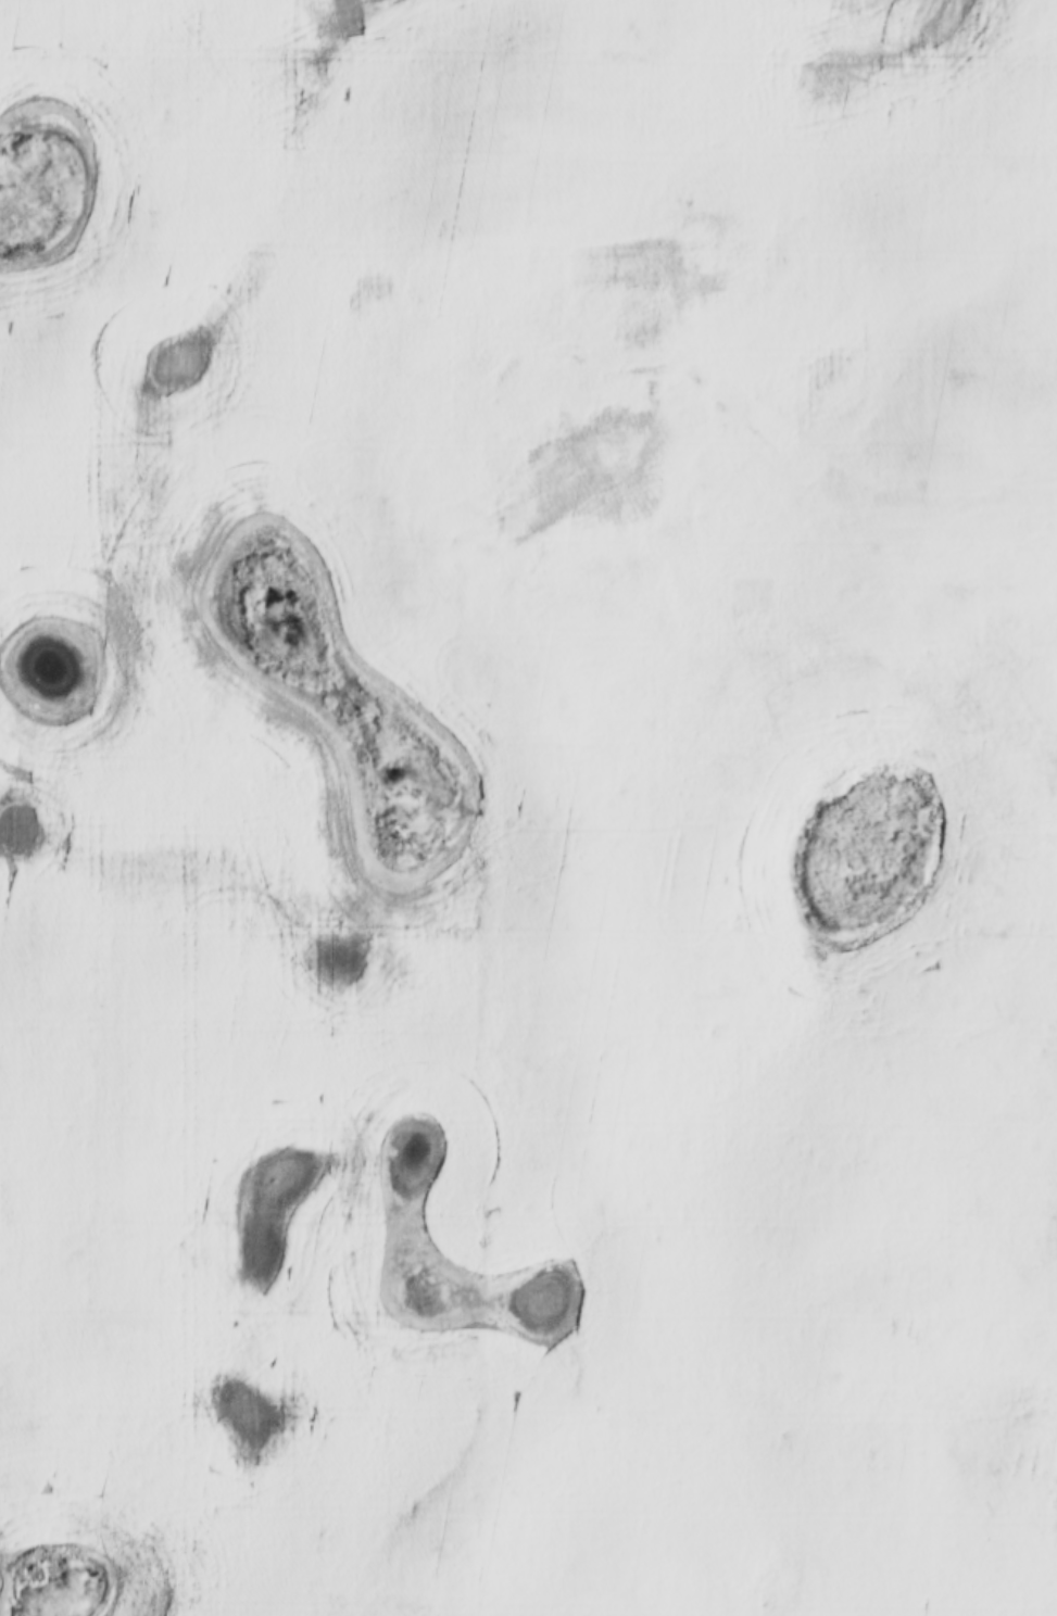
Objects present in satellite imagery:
road: (818, 469)

